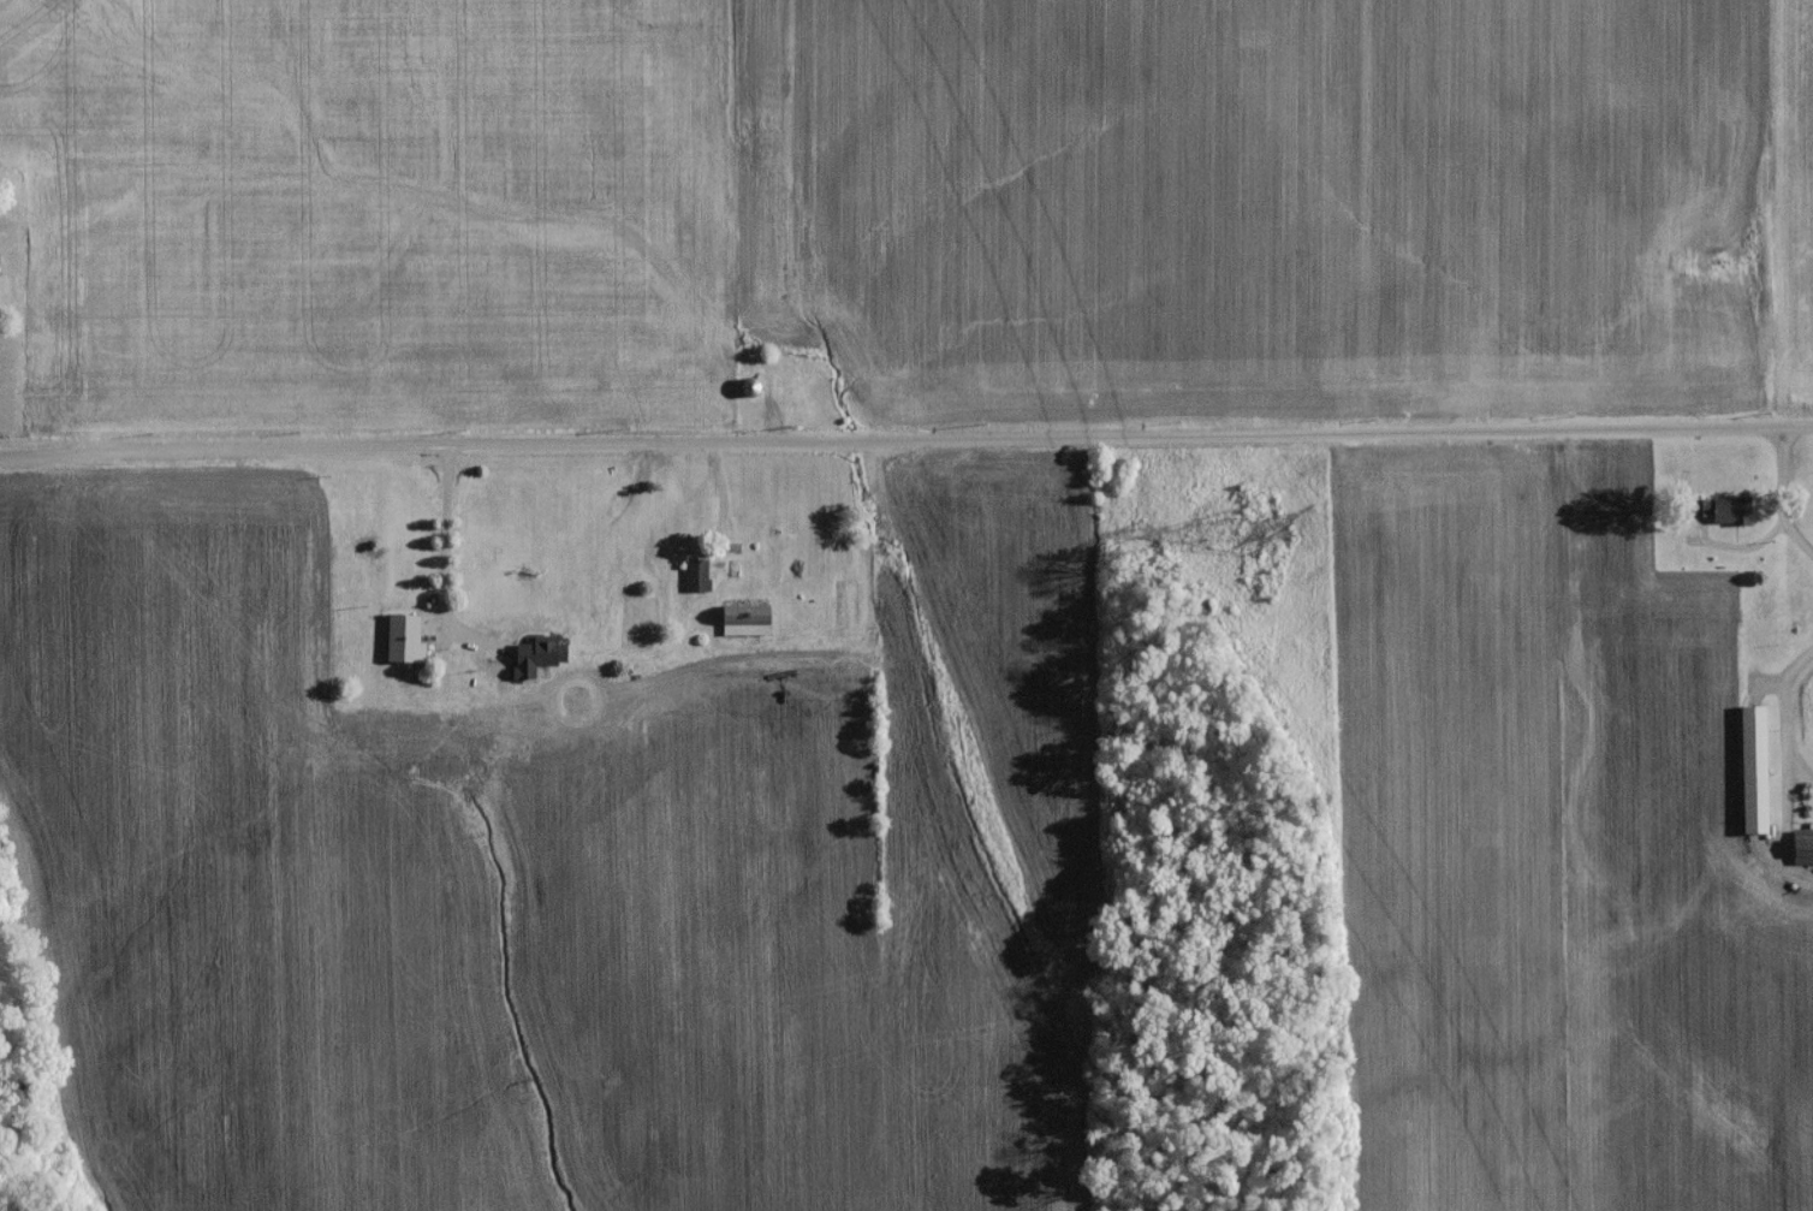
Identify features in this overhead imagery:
building: (749, 392)
road: (905, 439)
road: (1773, 498)
road: (1146, 515)
building: (1732, 516)
power tower: (1270, 535)
road: (444, 563)
building: (696, 581)
building: (747, 627)
building: (404, 643)
building: (1801, 702)
building: (1754, 776)
building: (1801, 851)

